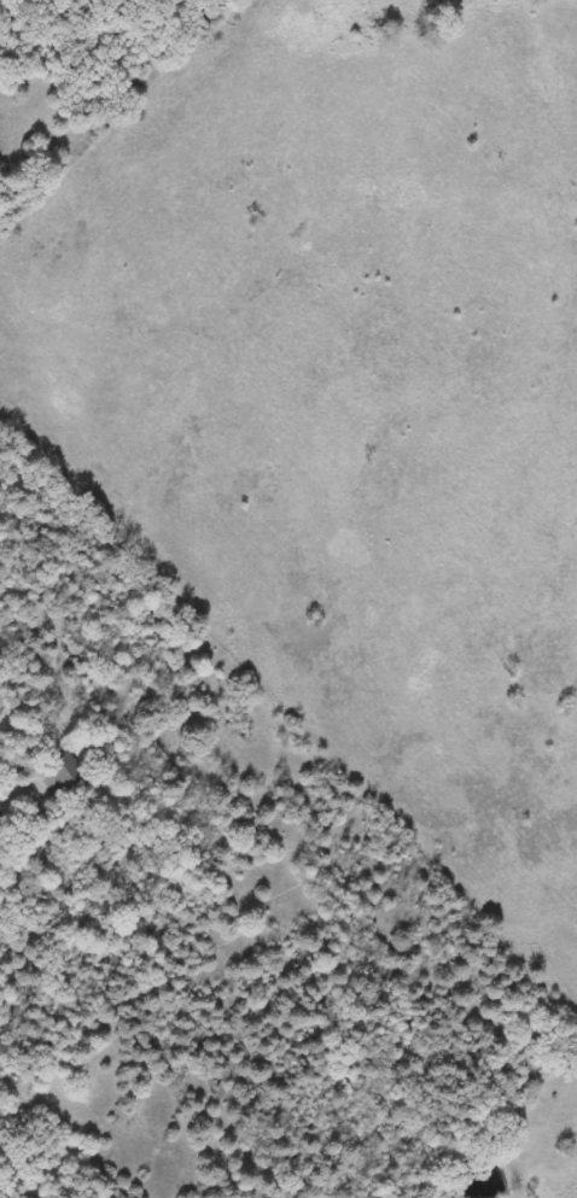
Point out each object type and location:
road: (24, 734)
building: (63, 769)

